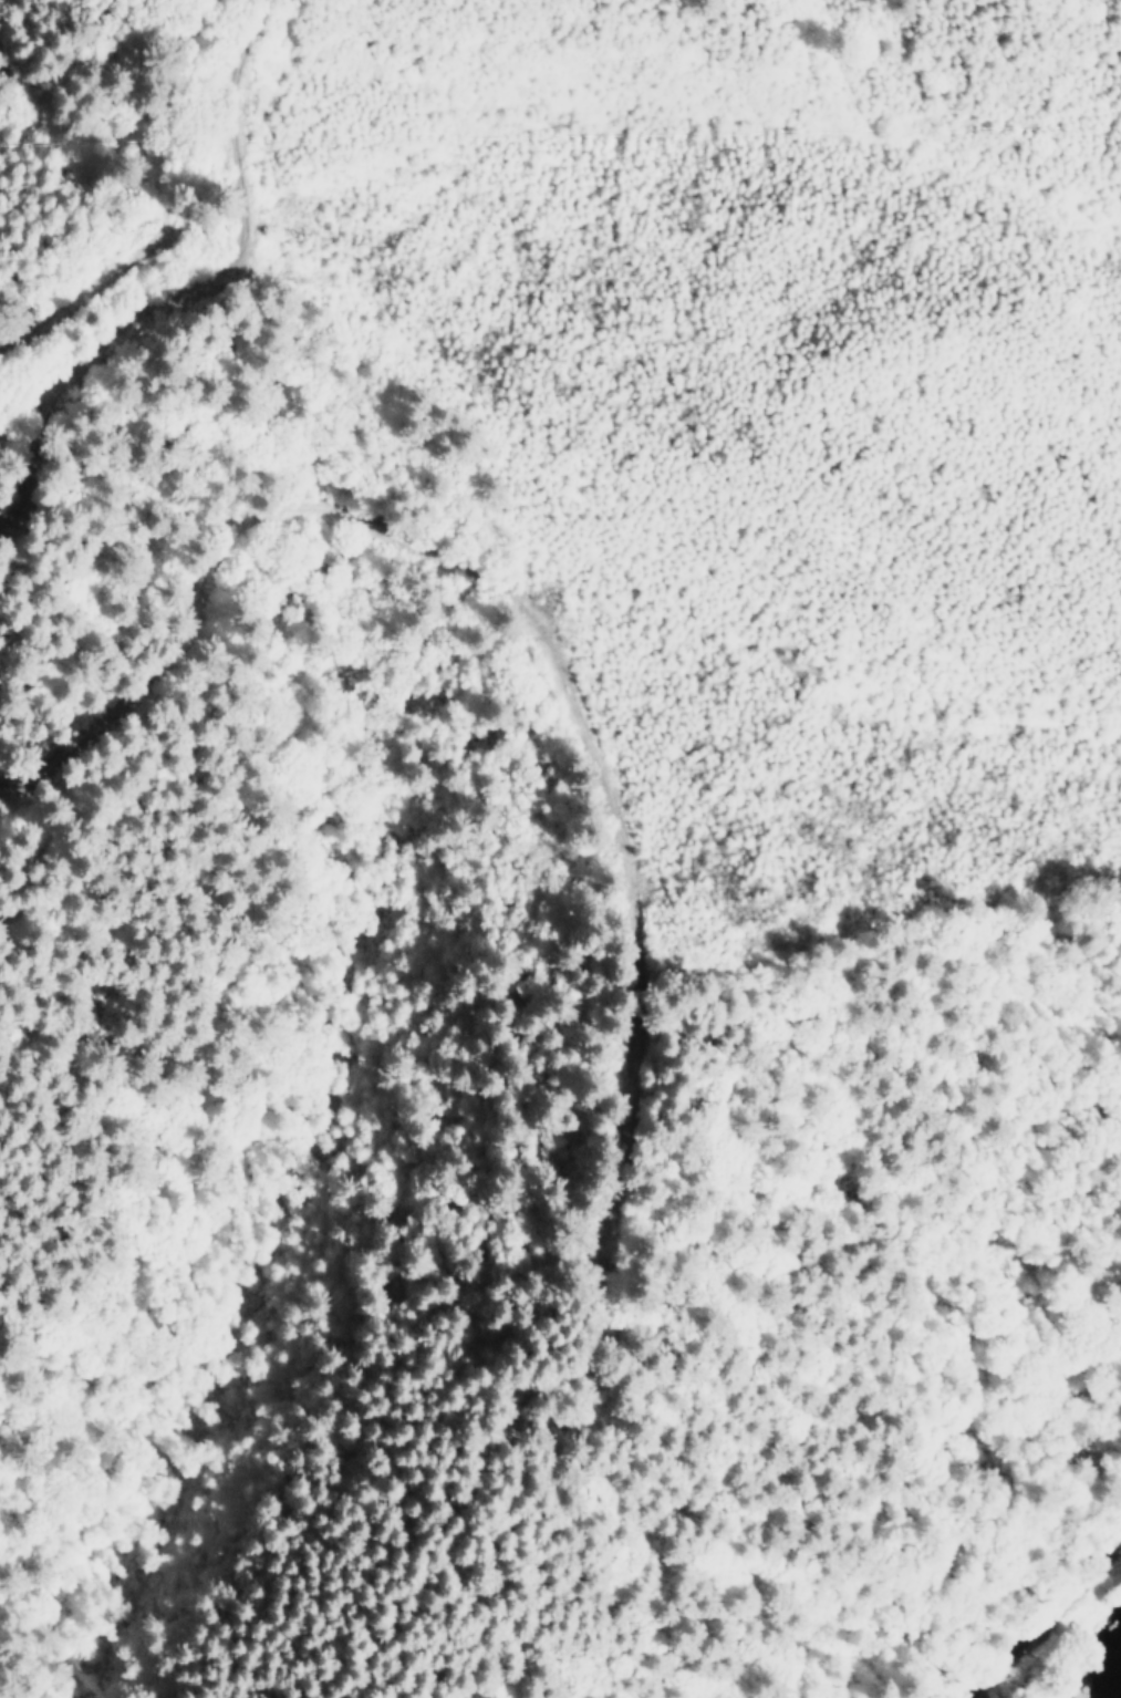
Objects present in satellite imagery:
road: (1039, 1614)
river: (1114, 1686)

